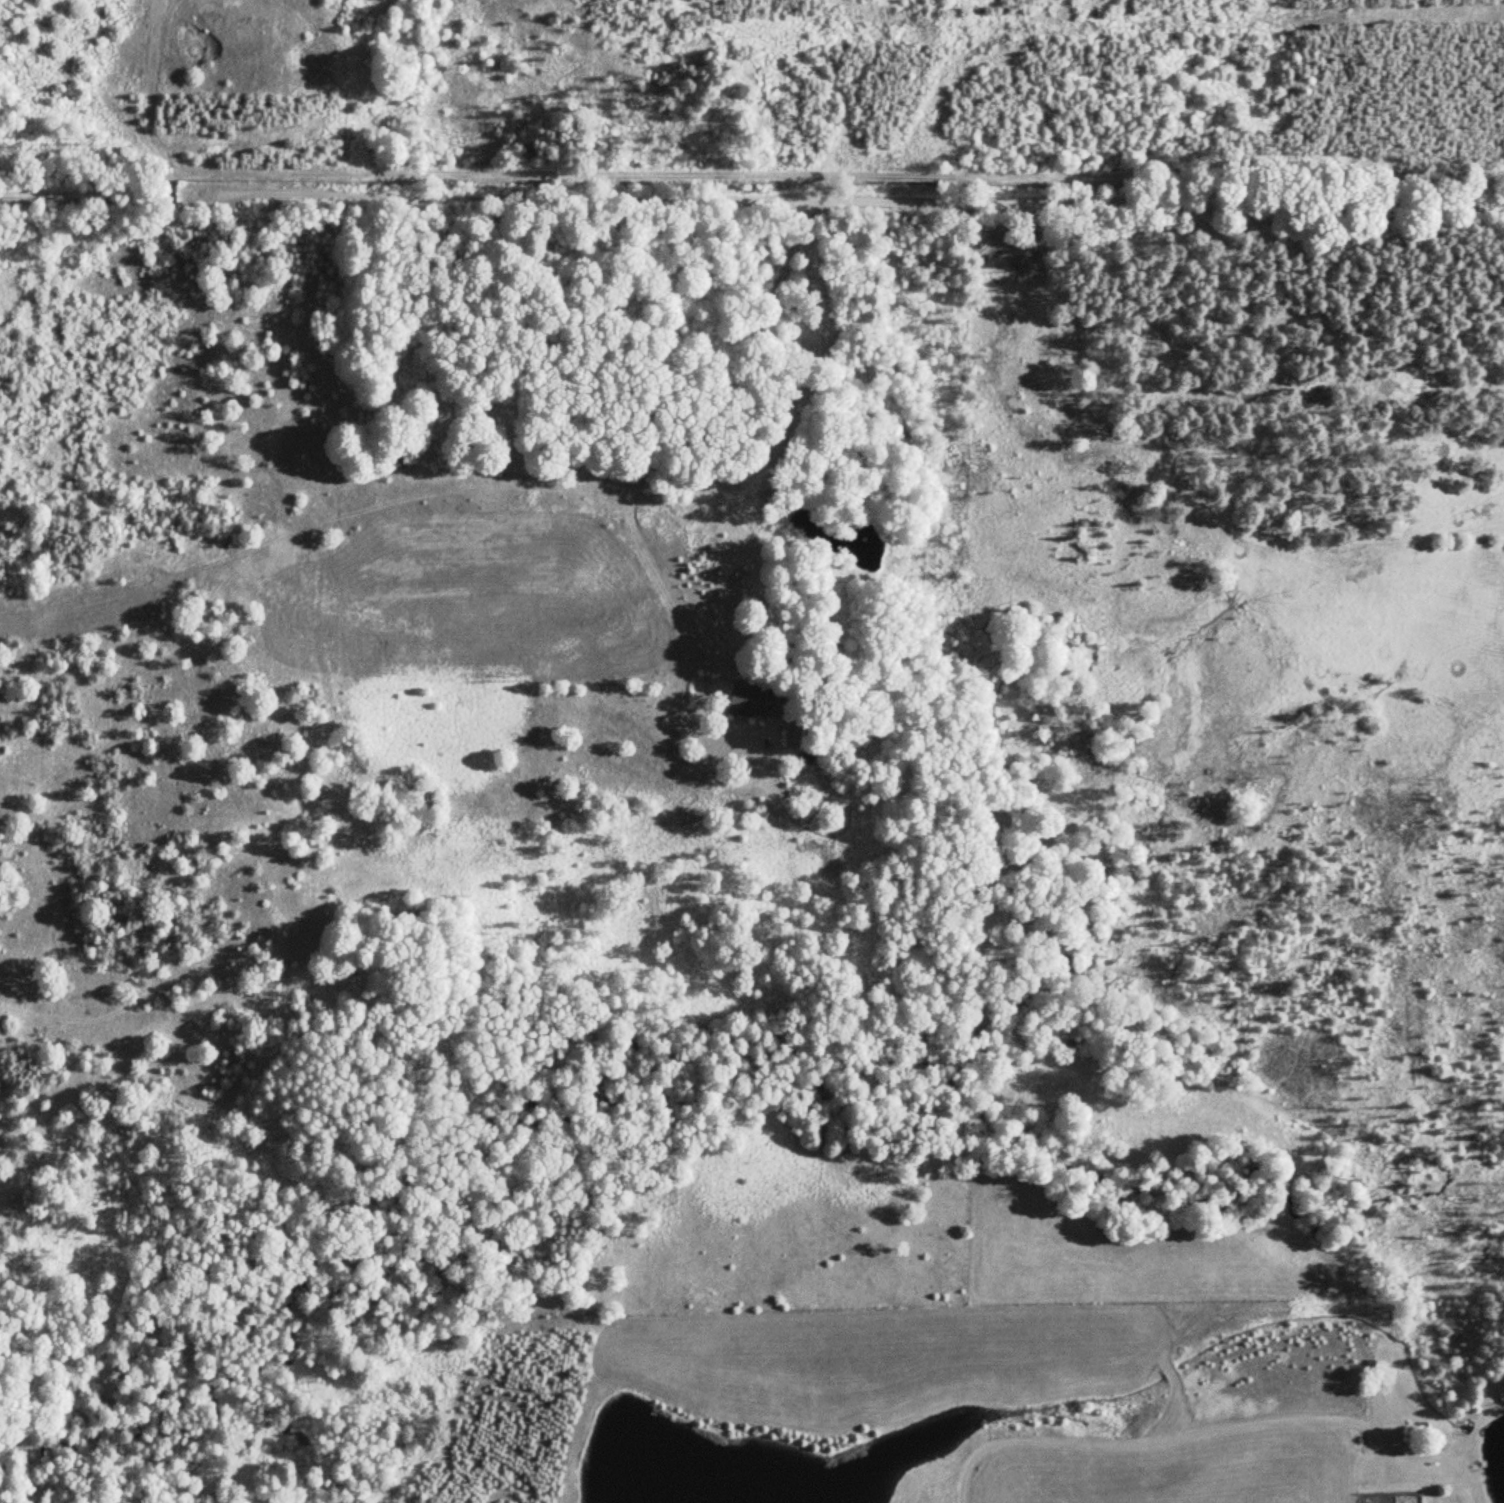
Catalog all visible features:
road: (1013, 196)
building: (756, 700)
building: (1502, 1391)

